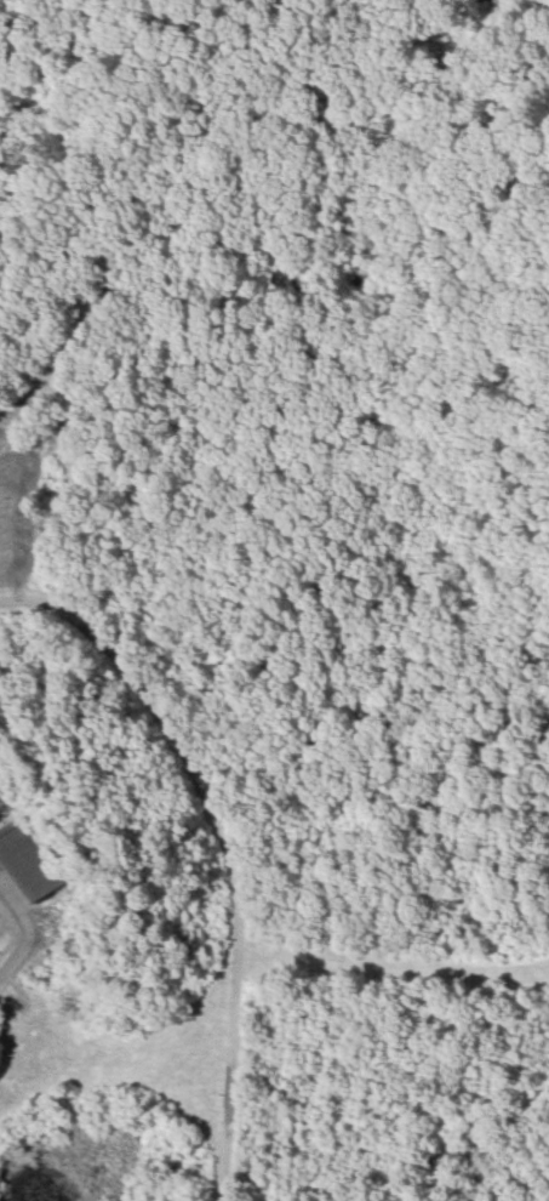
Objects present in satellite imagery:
road: (223, 848)
road: (24, 934)

